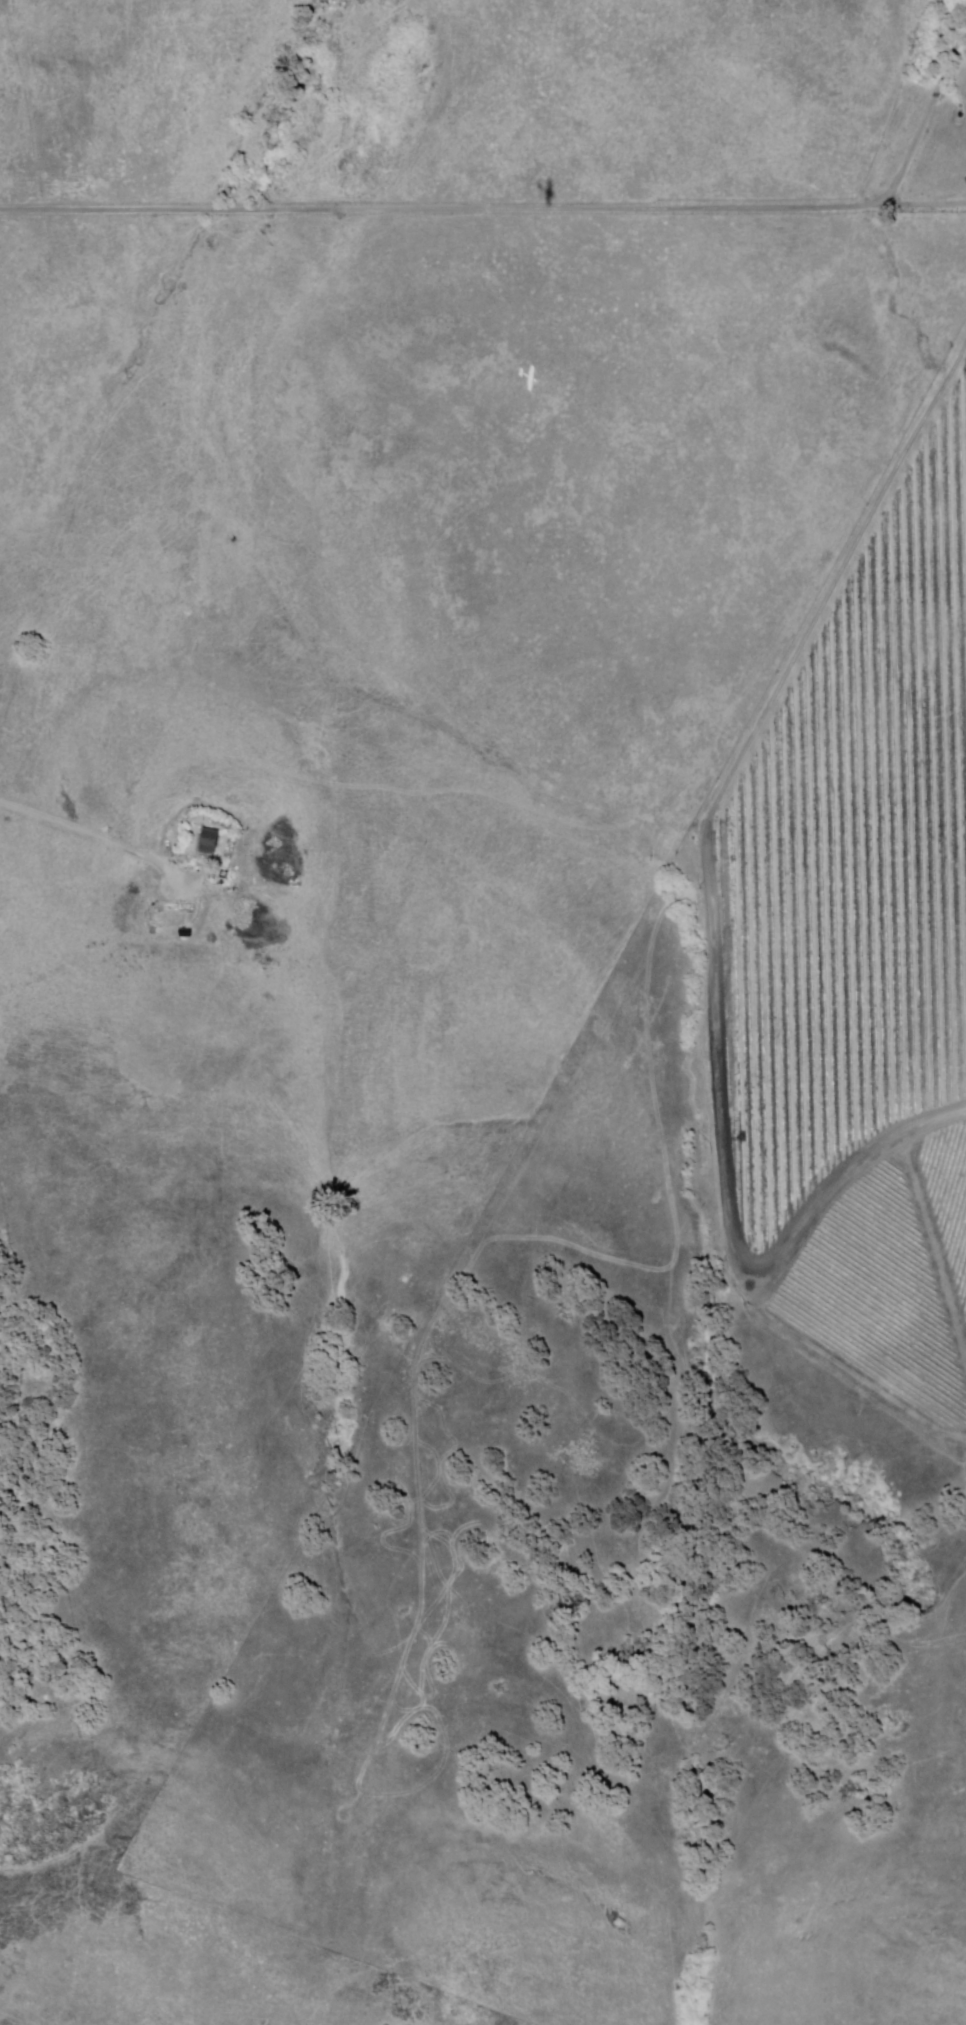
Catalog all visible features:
road: (483, 209)
road: (81, 833)
building: (208, 844)
road: (712, 929)
building: (184, 934)

